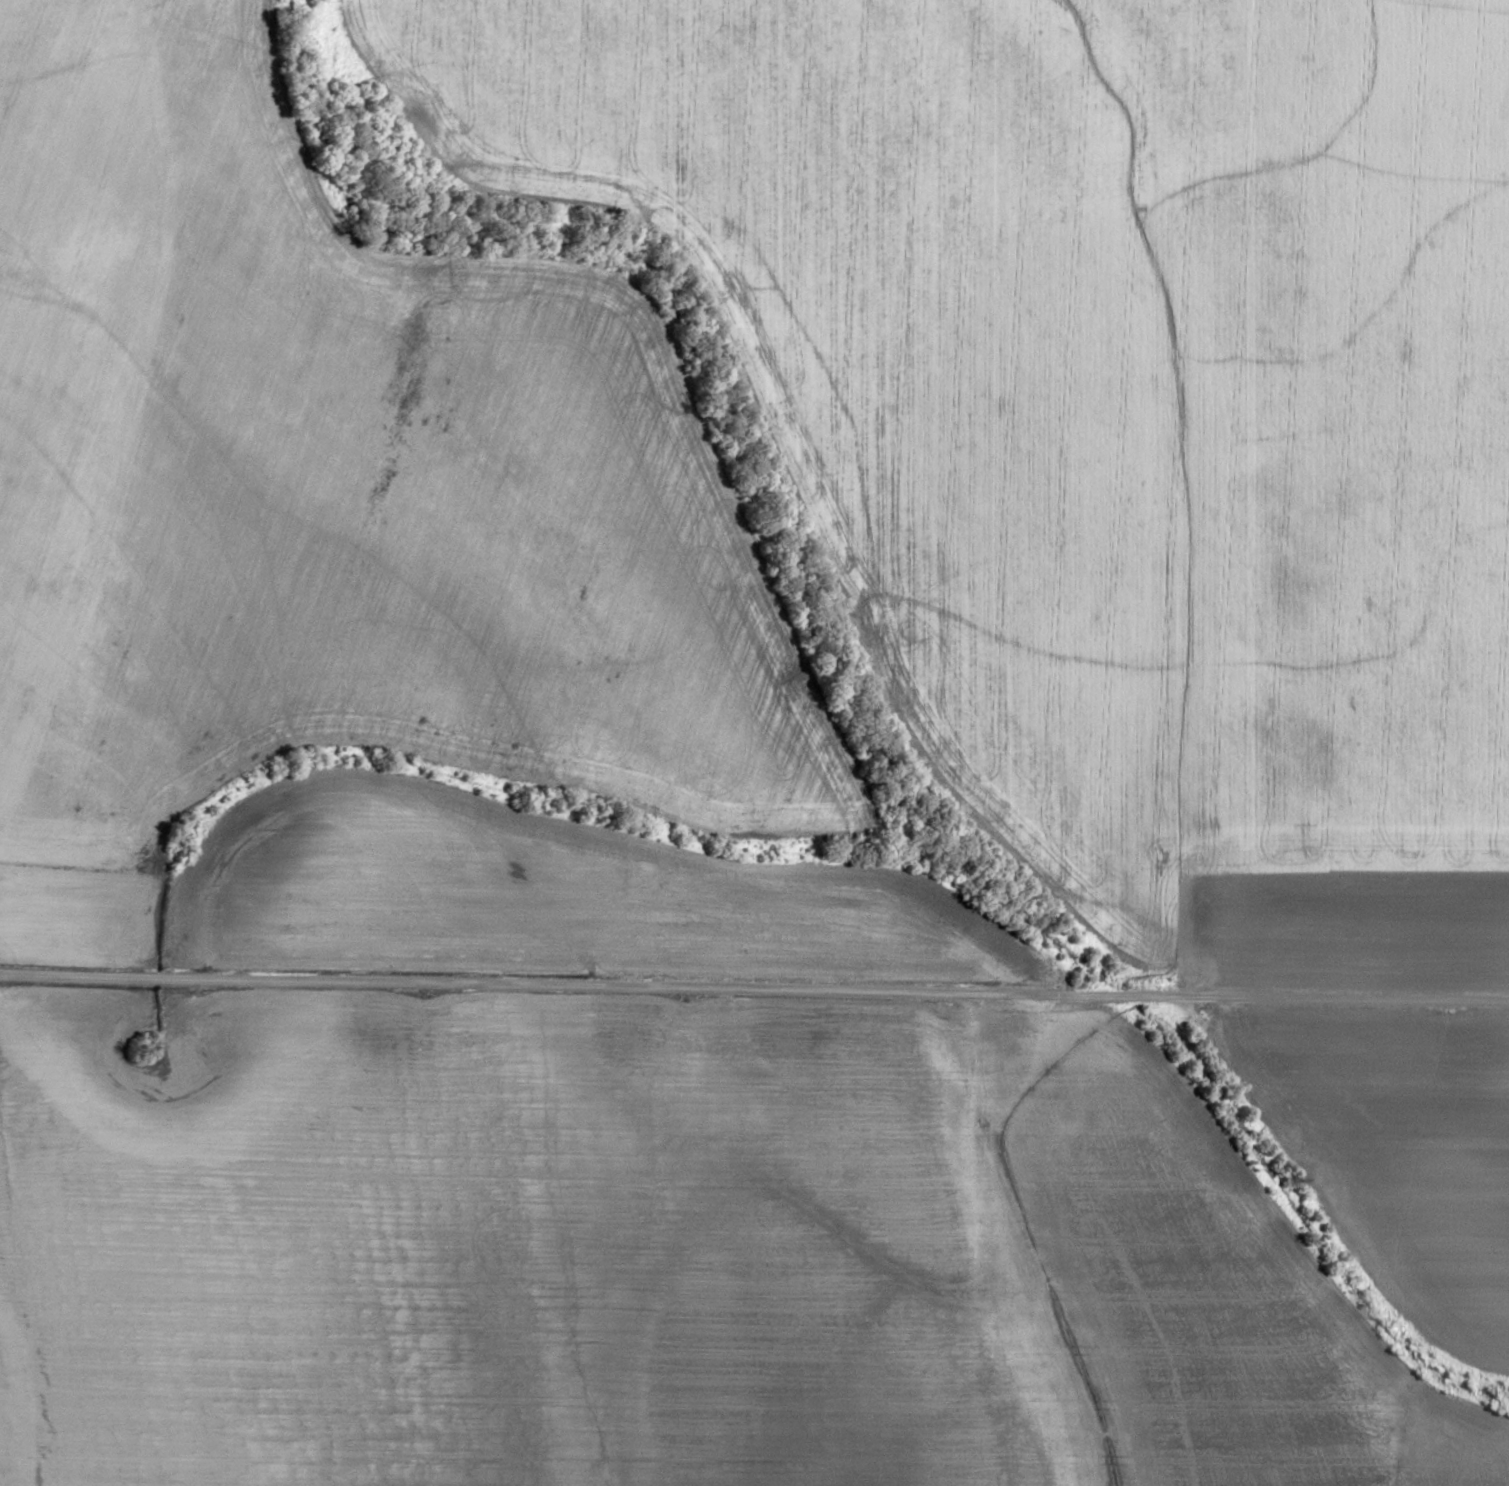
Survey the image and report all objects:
road: (754, 976)
road: (986, 1232)
road: (22, 1295)

